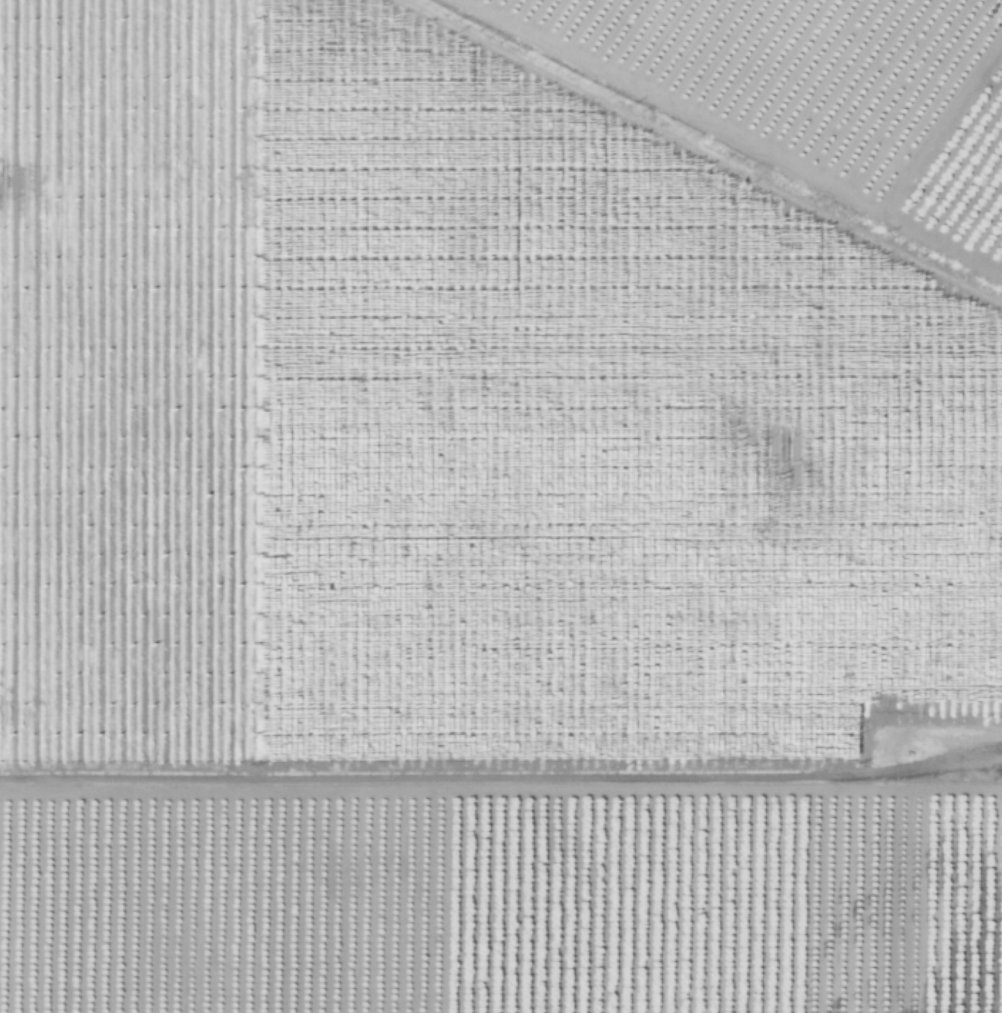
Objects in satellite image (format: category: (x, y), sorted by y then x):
crop: (503, 896)

